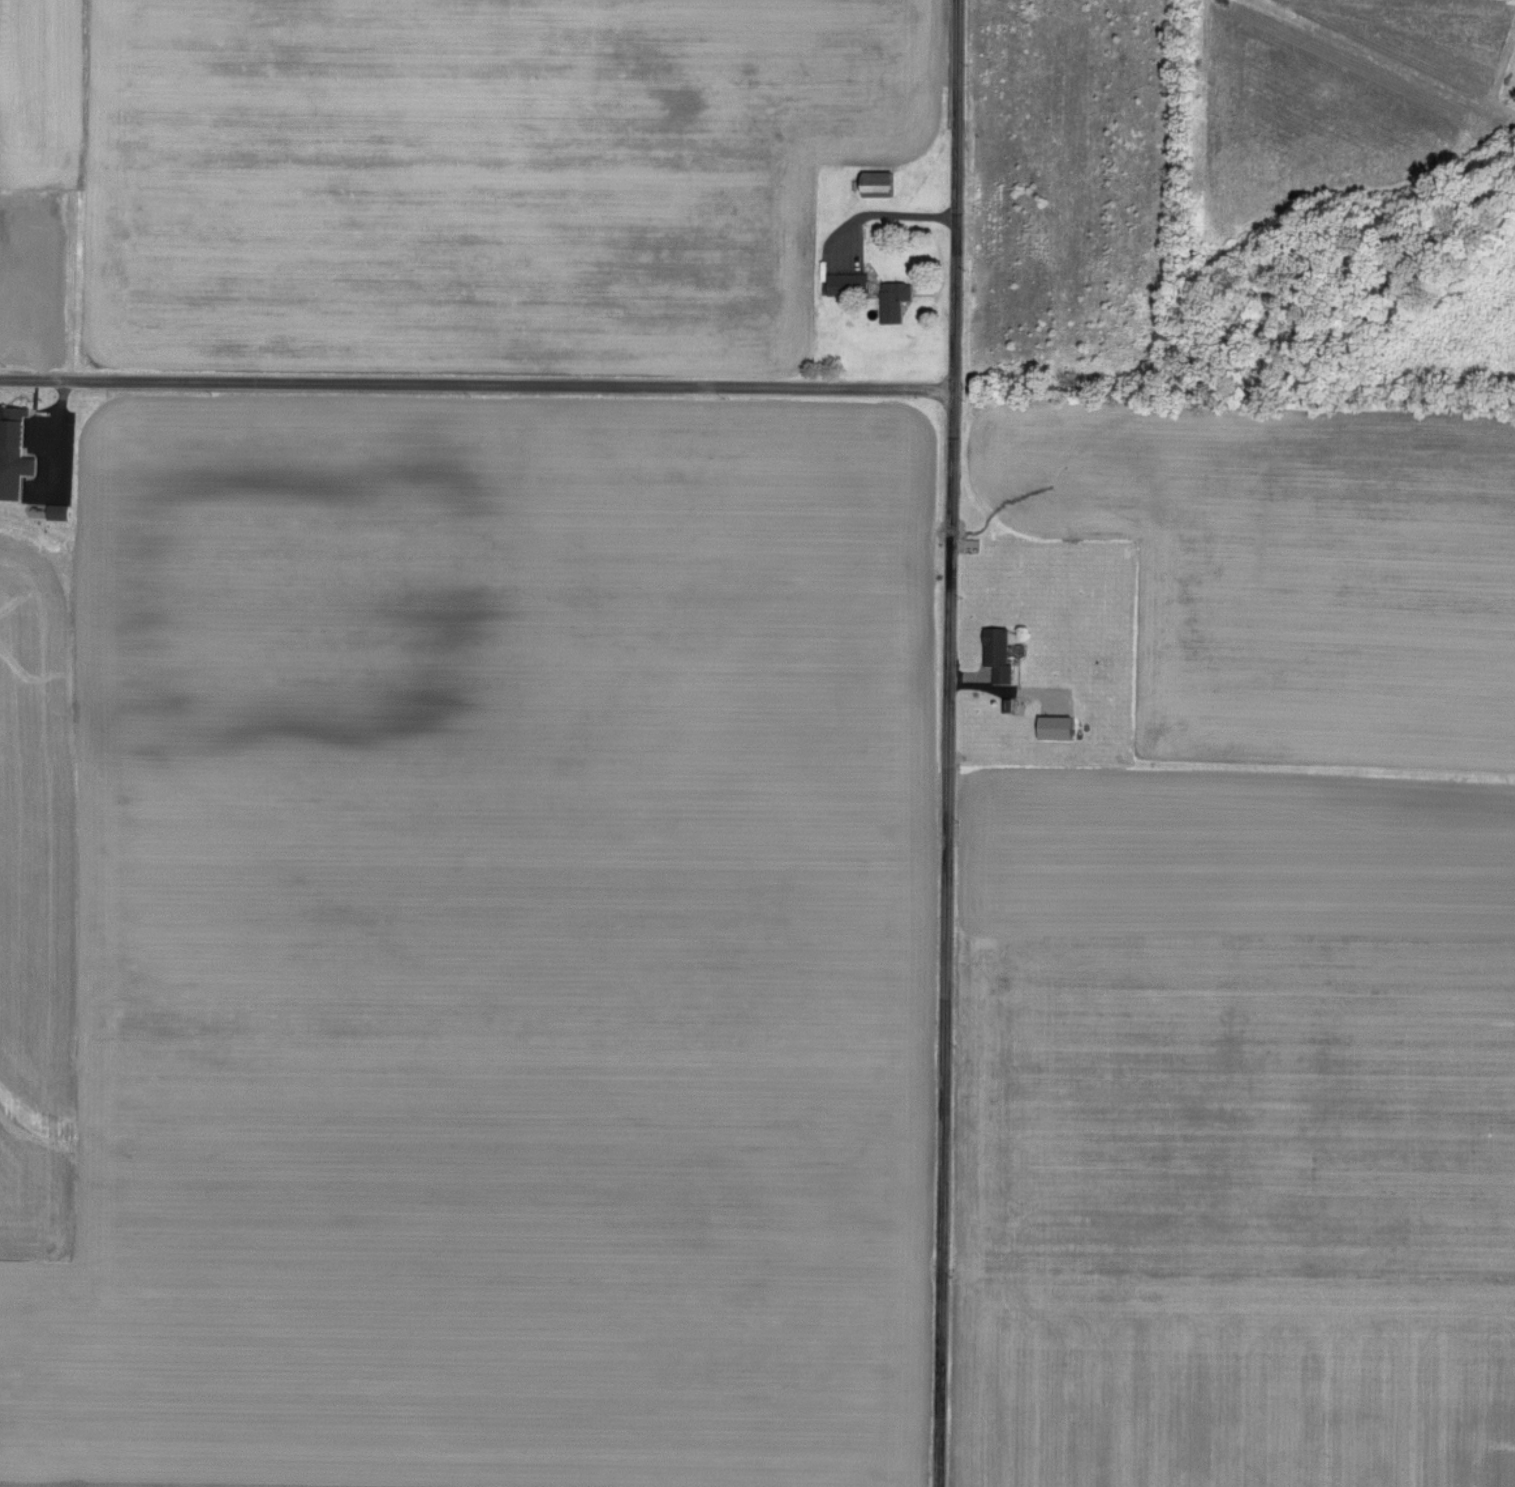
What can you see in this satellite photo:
building: (876, 182)
building: (893, 299)
road: (479, 385)
building: (16, 446)
building: (1055, 725)
road: (951, 743)

